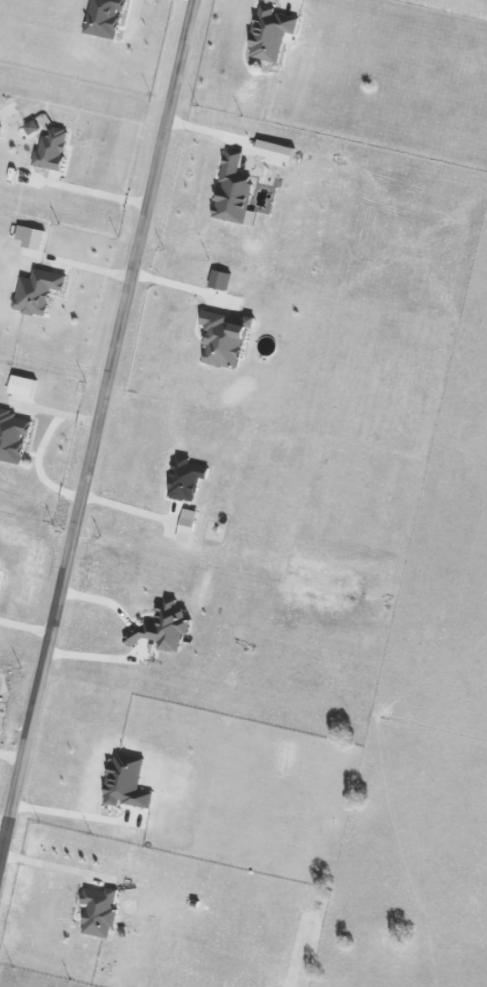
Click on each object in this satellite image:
building: (104, 17)
building: (270, 34)
building: (0, 124)
building: (31, 126)
building: (52, 147)
building: (274, 152)
building: (234, 190)
road: (104, 200)
building: (30, 236)
building: (219, 279)
road: (178, 289)
building: (37, 291)
building: (224, 338)
road: (98, 434)
building: (11, 436)
building: (184, 481)
road: (134, 511)
building: (179, 519)
building: (163, 626)
road: (26, 627)
road: (99, 657)
road: (12, 753)
building: (126, 781)
road: (69, 814)
road: (4, 828)
road: (51, 862)
building: (99, 911)

